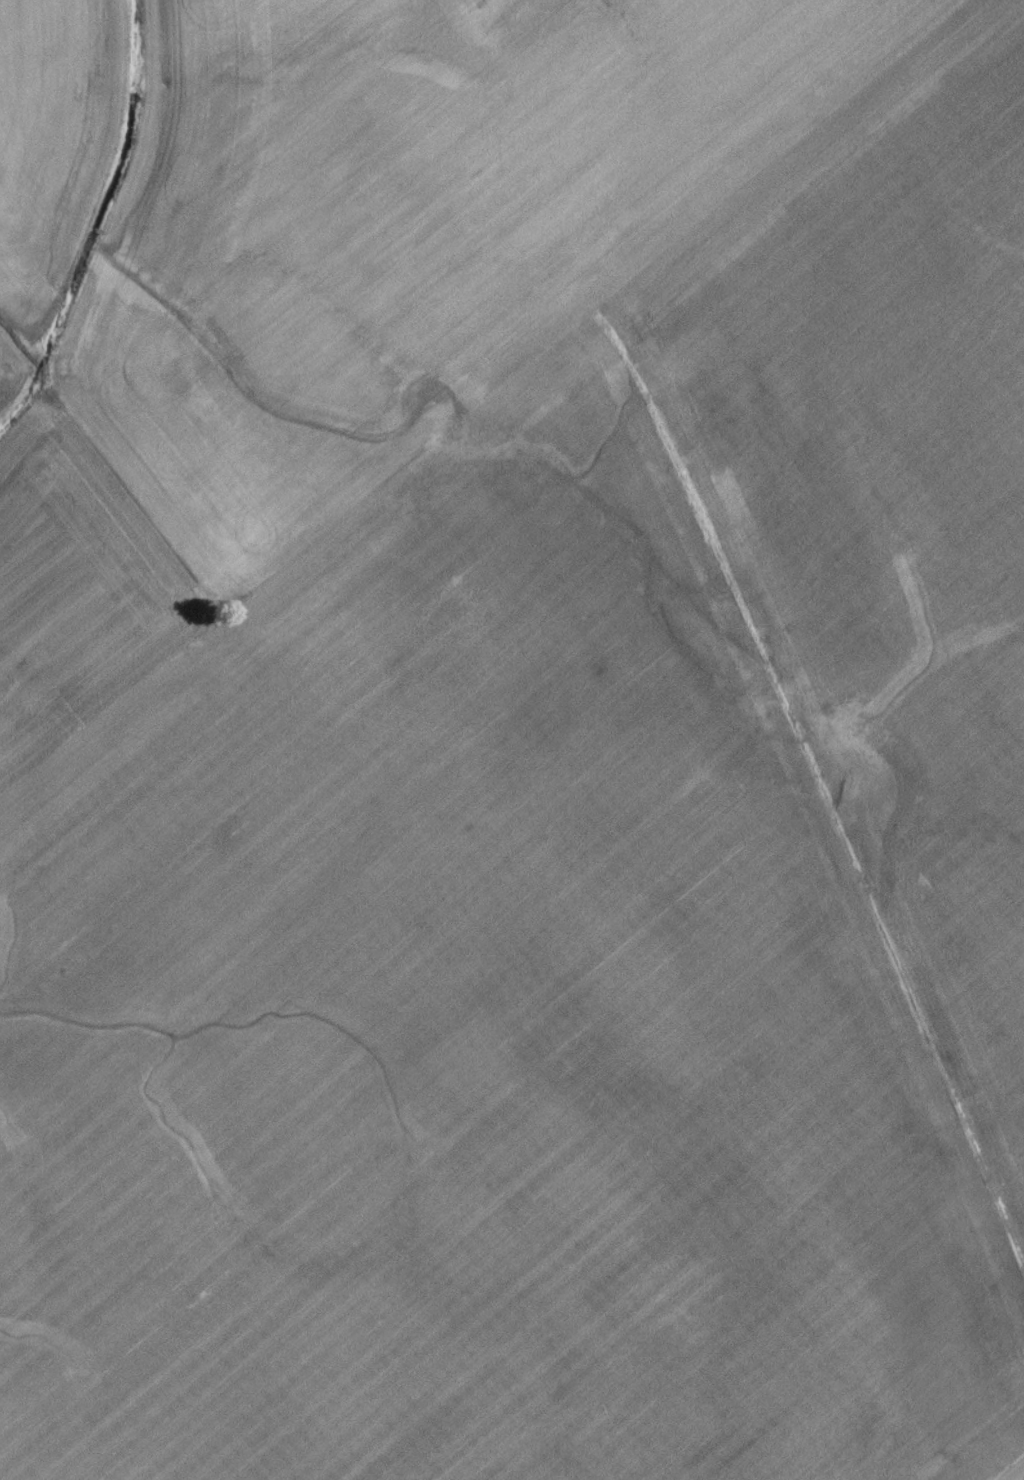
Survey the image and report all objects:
road: (1022, 1478)

